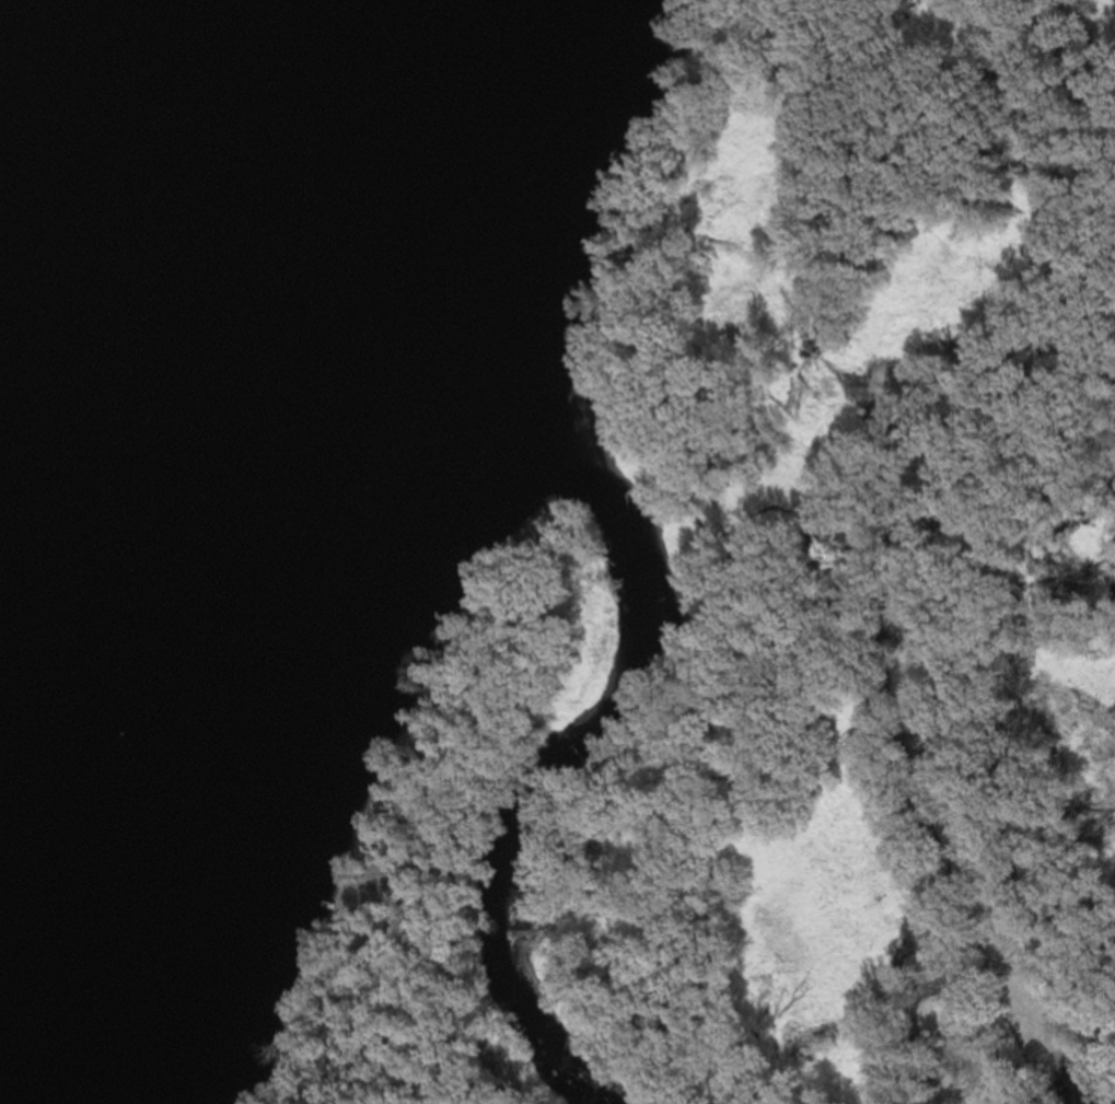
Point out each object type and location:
river: (177, 418)

